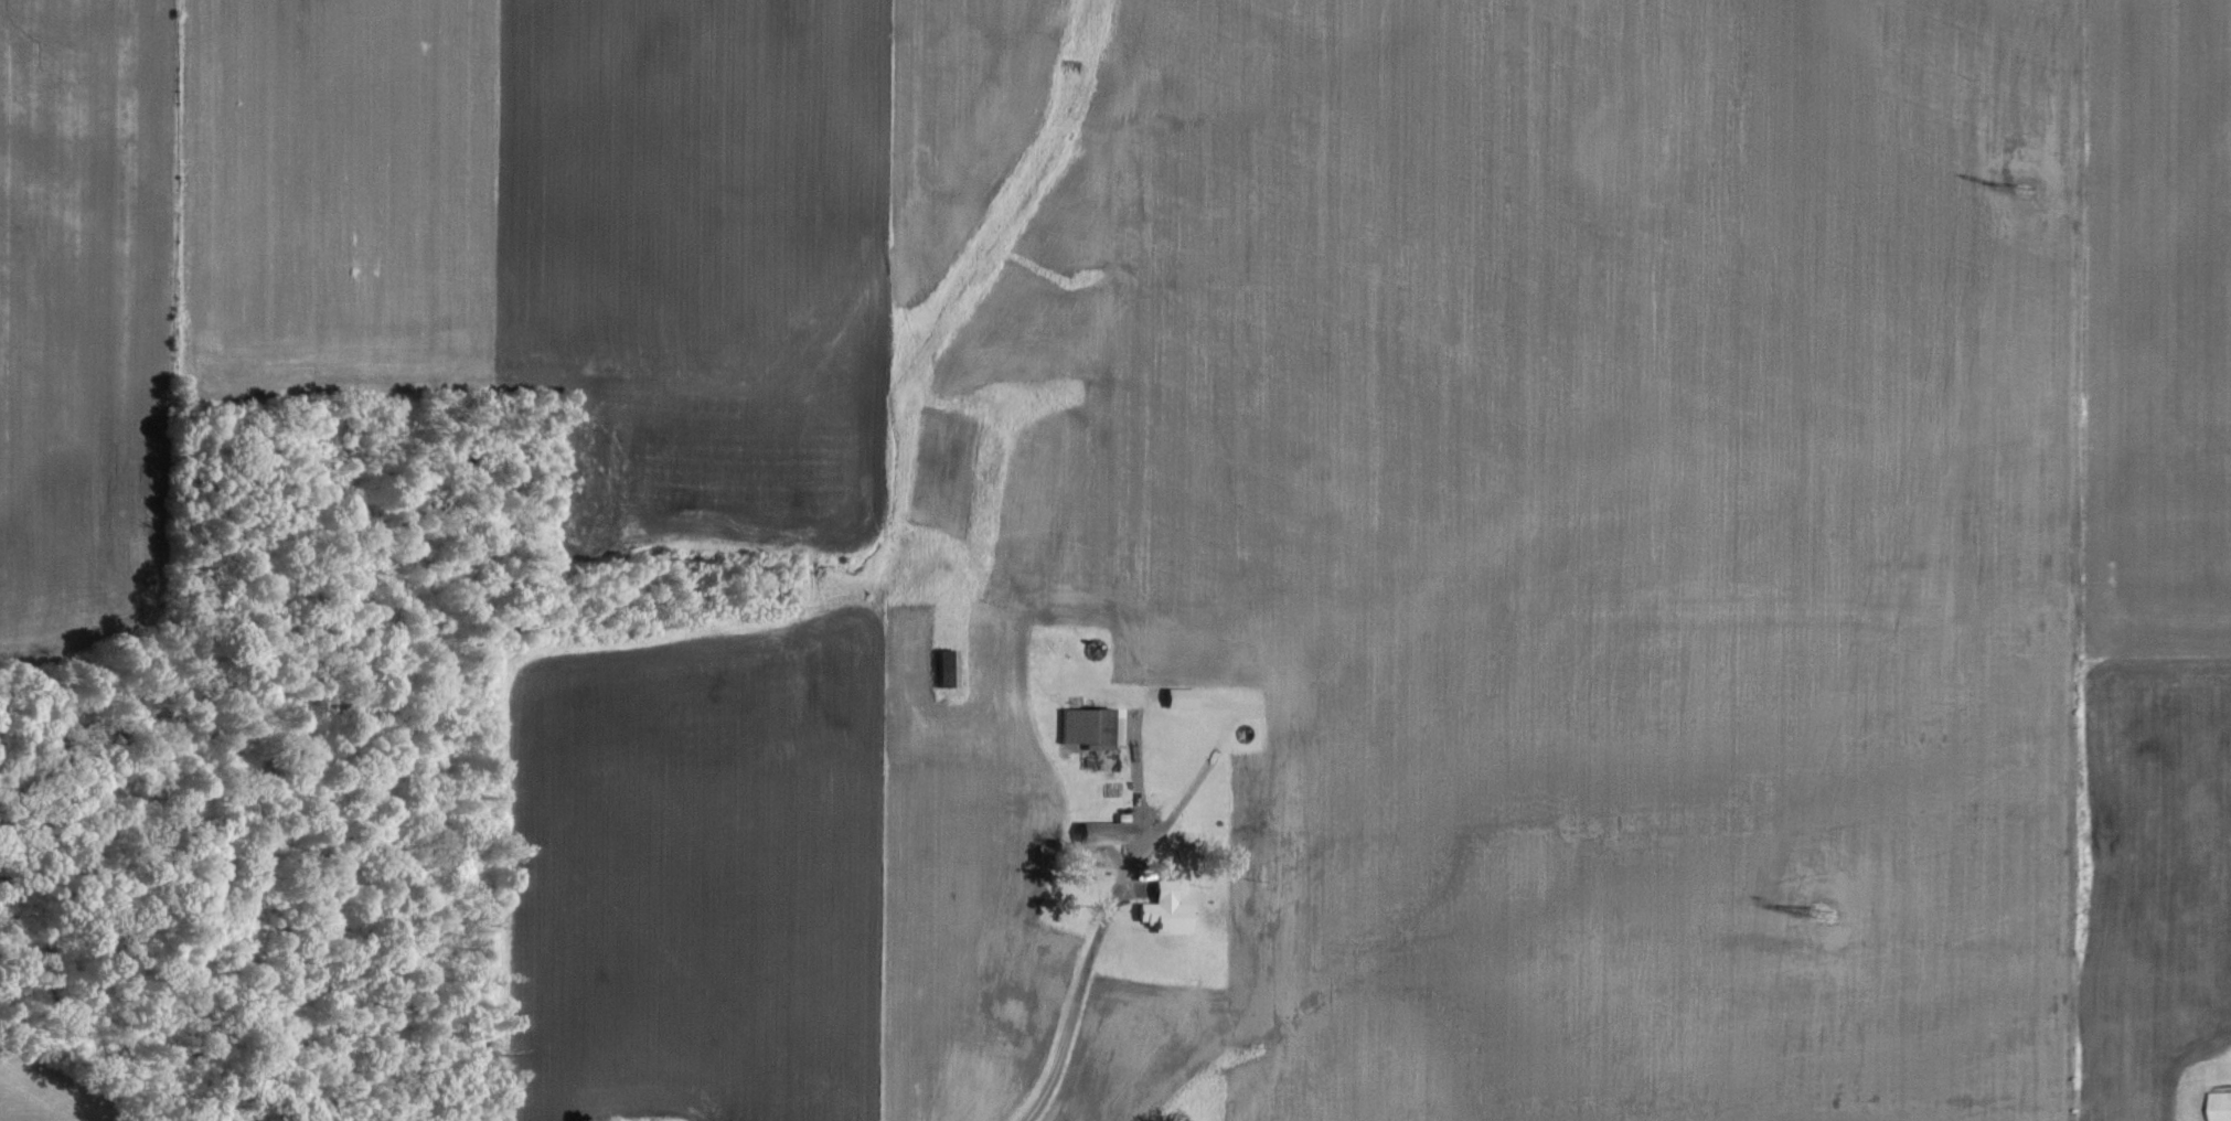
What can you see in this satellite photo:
power tower: (2025, 190)
building: (950, 670)
building: (1183, 698)
building: (1092, 727)
building: (1109, 834)
building: (1167, 911)
power tower: (1823, 914)
road: (1085, 973)
building: (2219, 1107)

